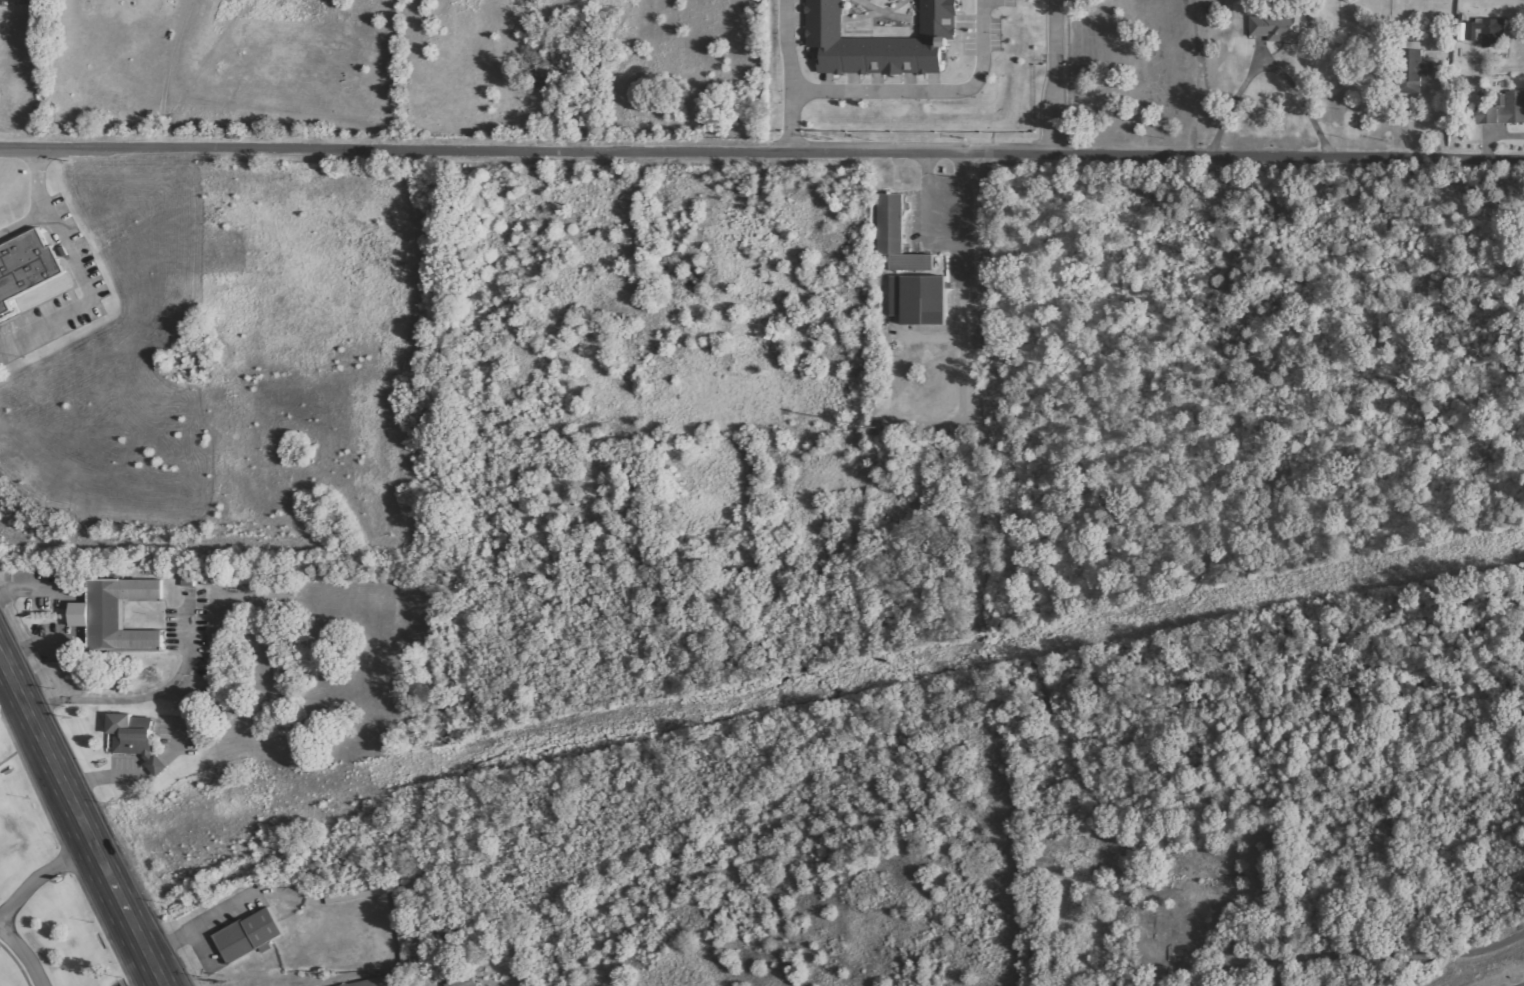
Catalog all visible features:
building: (0, 11)
building: (1284, 27)
road: (1058, 30)
building: (1489, 31)
building: (1462, 32)
building: (881, 35)
building: (1415, 69)
road: (793, 77)
road: (935, 97)
road: (1057, 108)
building: (1504, 110)
road: (762, 154)
building: (25, 266)
building: (911, 271)
building: (118, 615)
building: (134, 740)
road: (41, 743)
road: (40, 876)
road: (122, 906)
building: (250, 937)
building: (1160, 950)
road: (24, 954)
building: (464, 981)
building: (380, 983)

